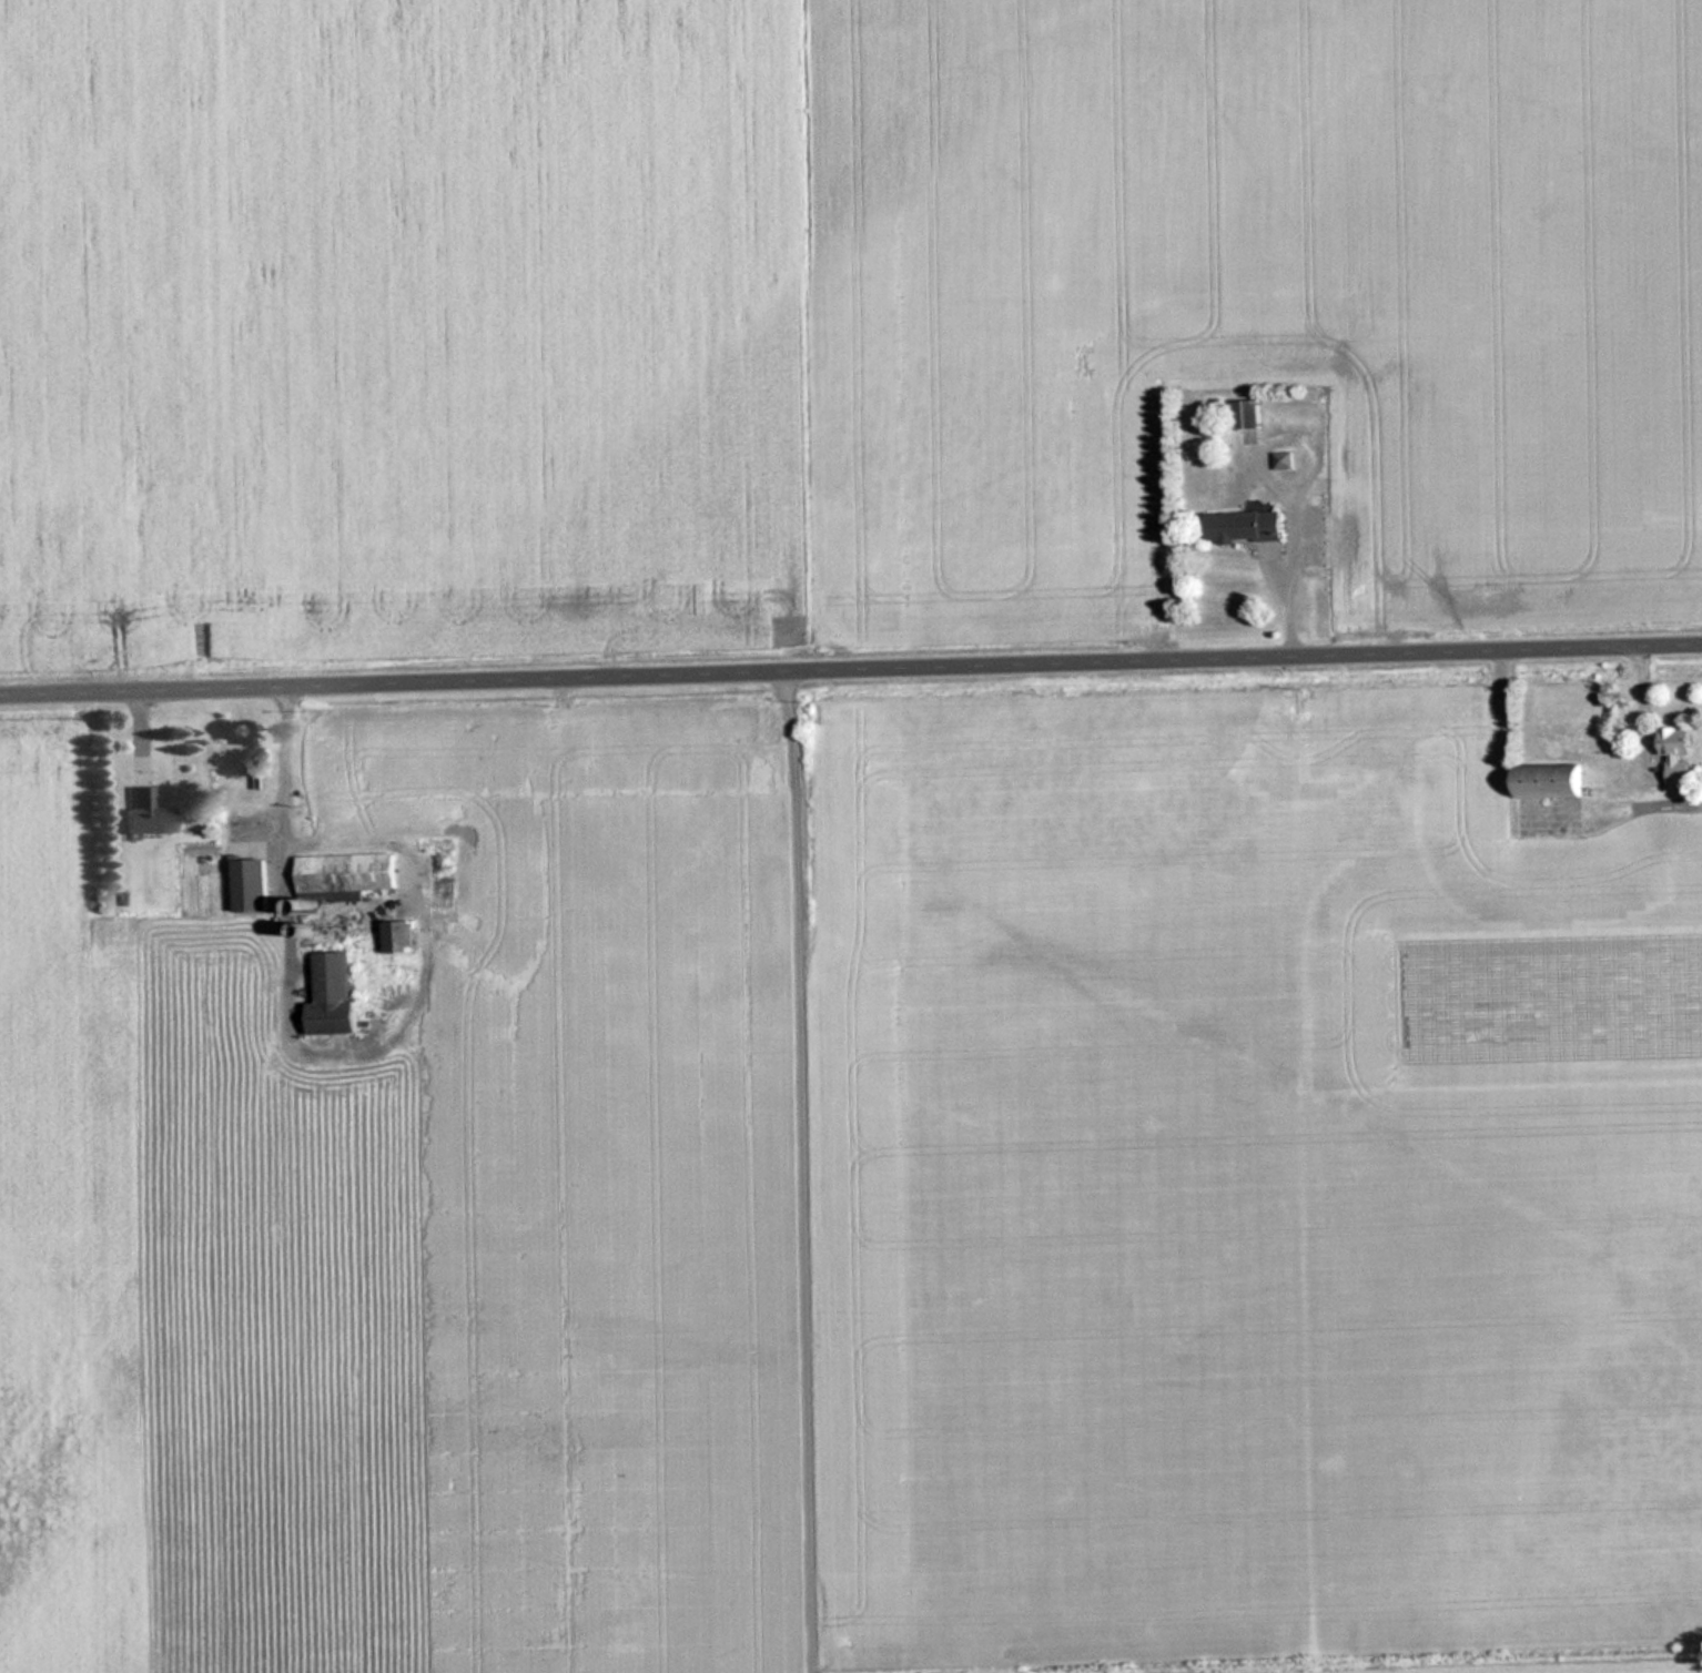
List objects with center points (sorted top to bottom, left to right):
building: (1249, 413)
building: (1285, 459)
building: (1337, 521)
building: (1245, 525)
road: (850, 668)
building: (1679, 754)
building: (1552, 779)
building: (145, 813)
building: (348, 872)
building: (402, 936)
building: (334, 994)
road: (784, 1172)

